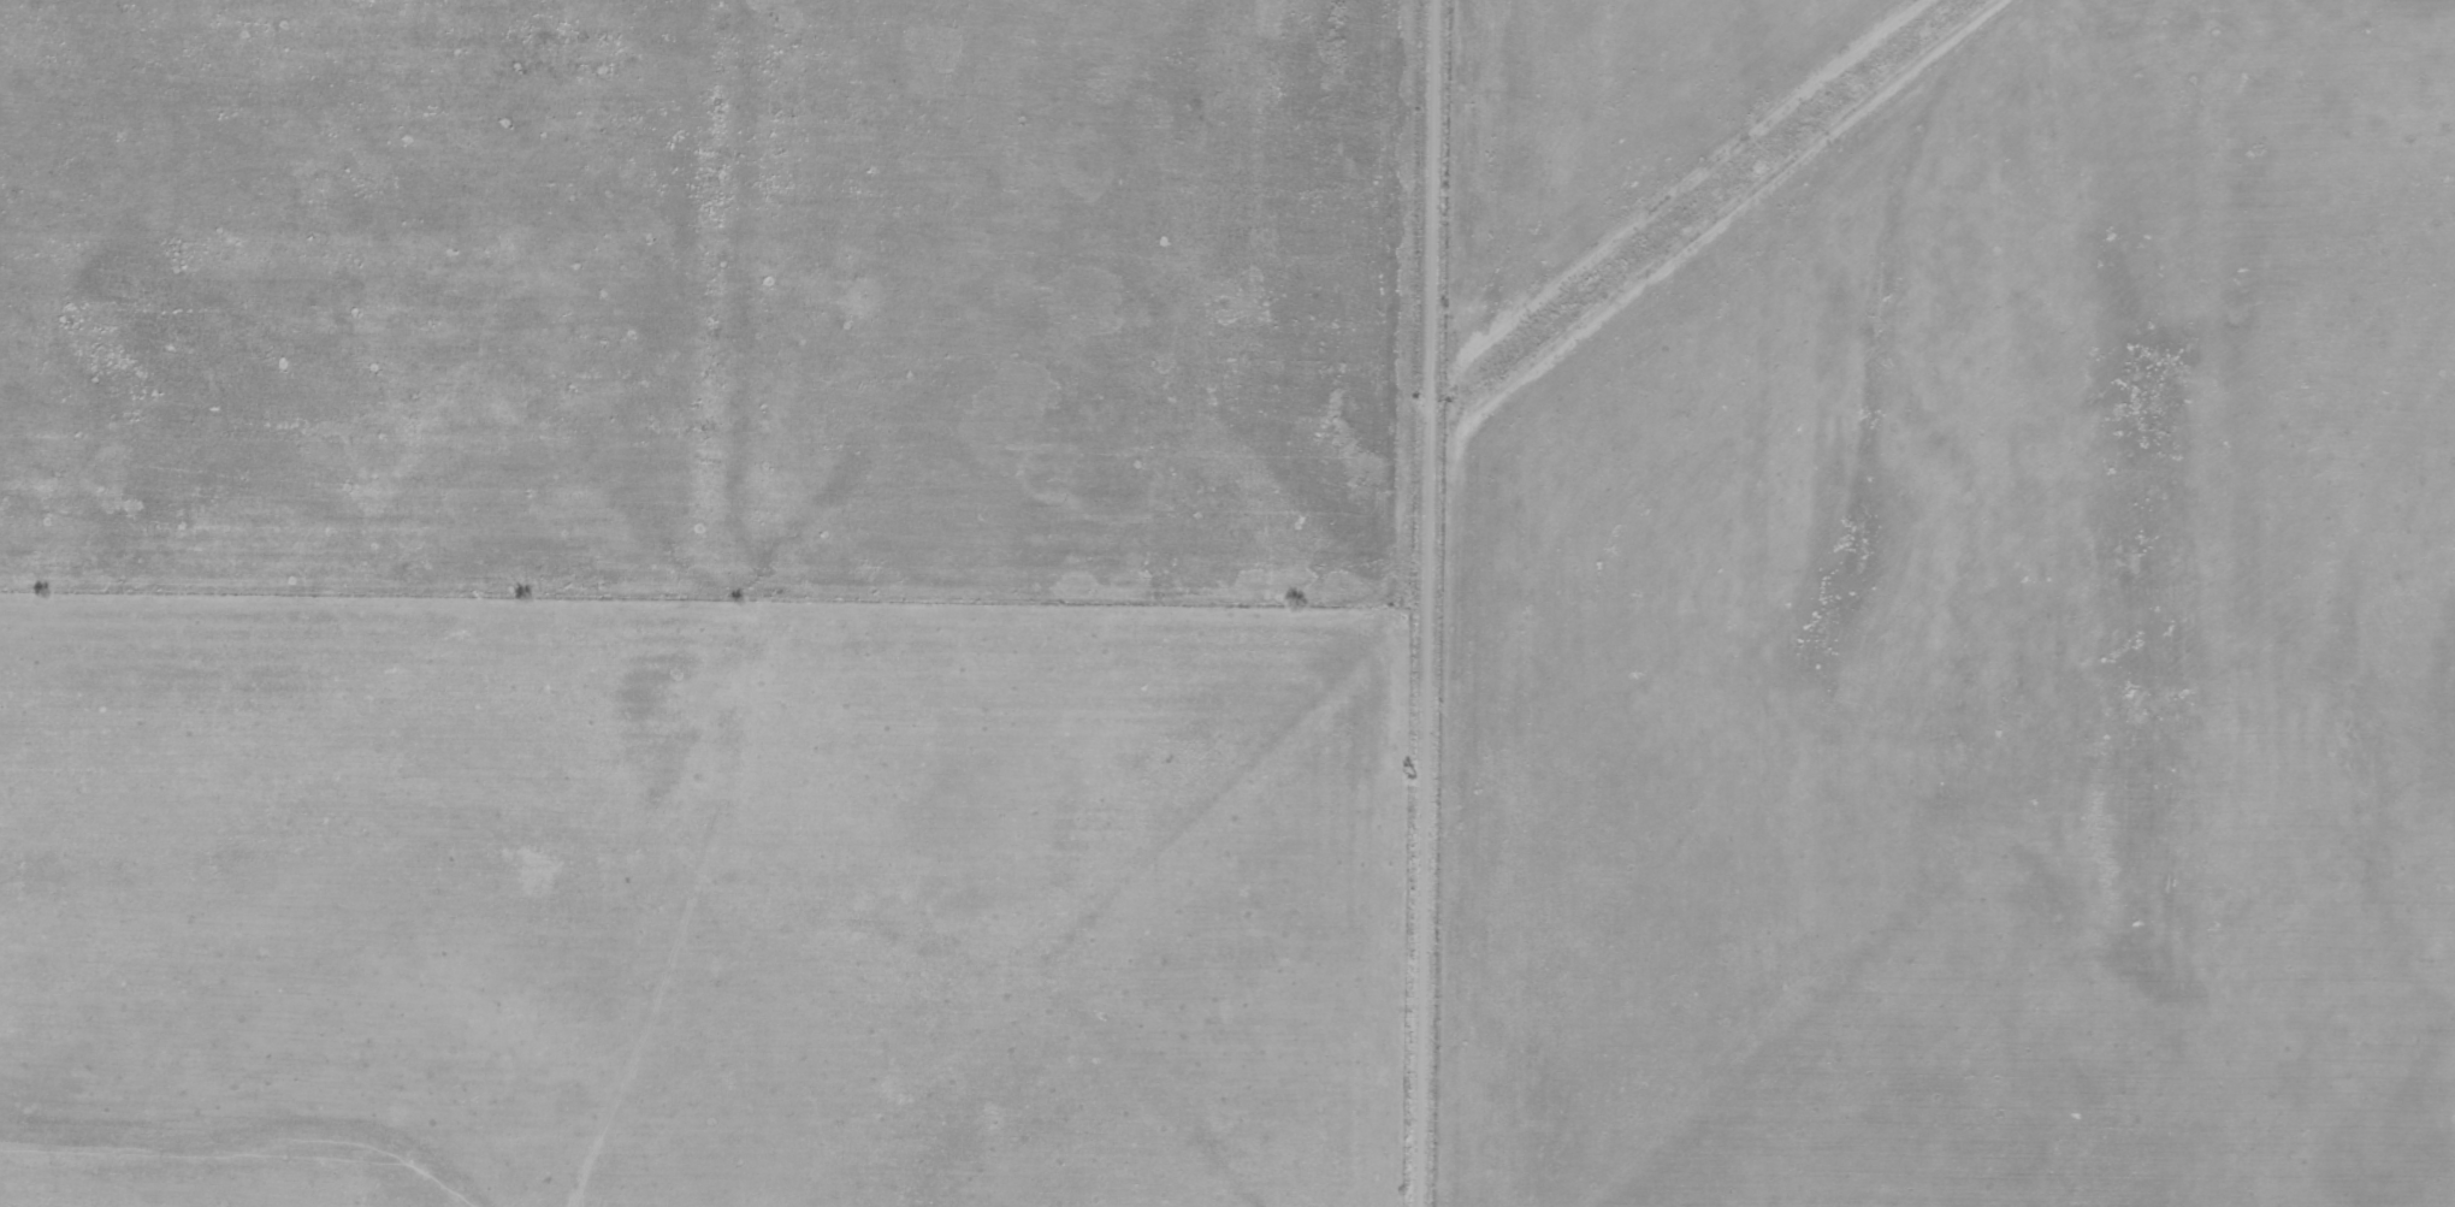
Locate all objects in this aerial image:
road: (1431, 603)

